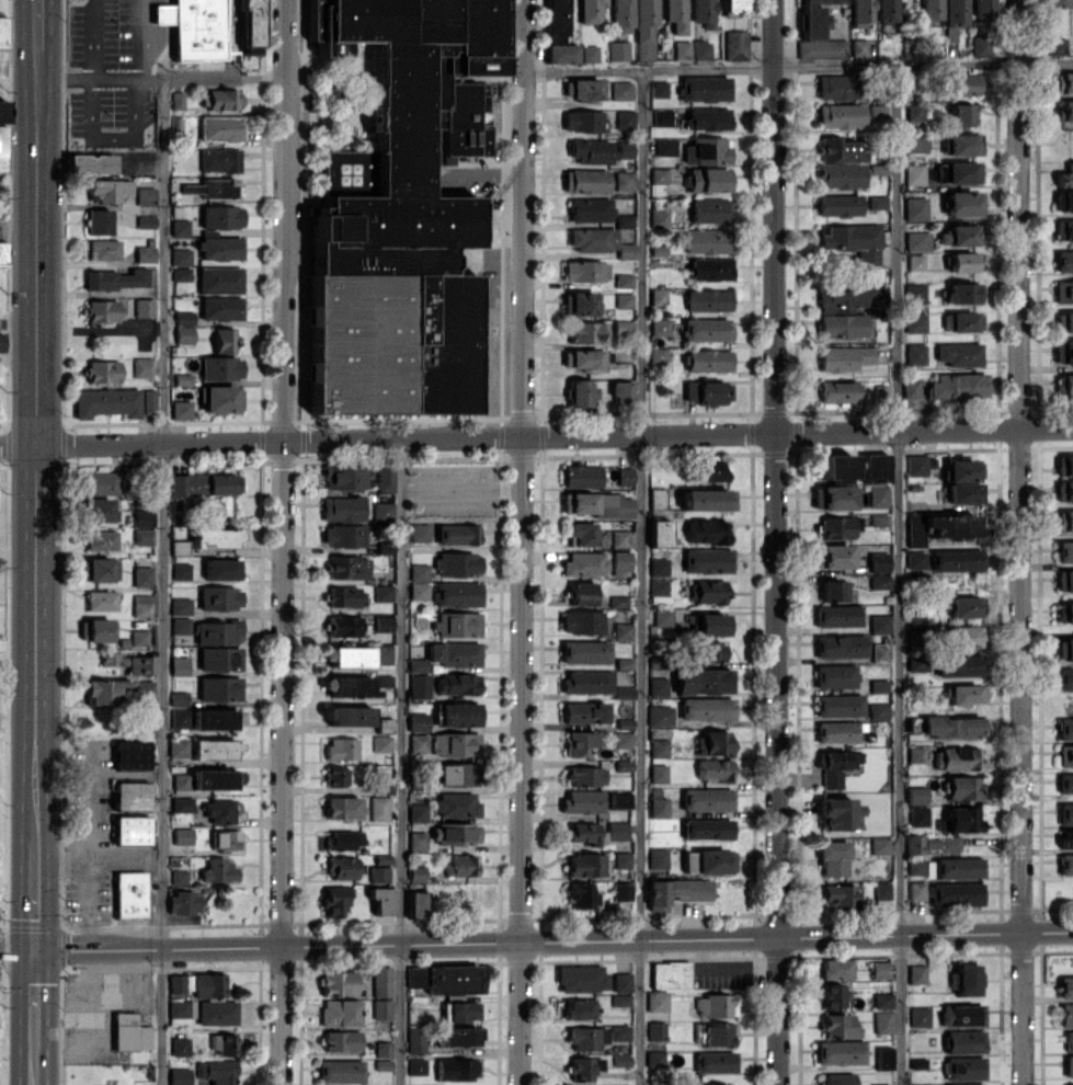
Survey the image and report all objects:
road: (173, 2)
building: (1055, 2)
building: (1072, 2)
building: (734, 5)
building: (931, 10)
building: (983, 10)
building: (590, 11)
building: (887, 11)
building: (703, 12)
building: (860, 12)
building: (621, 15)
building: (675, 15)
building: (814, 16)
road: (174, 18)
building: (954, 18)
building: (557, 20)
road: (39, 25)
building: (193, 27)
building: (250, 27)
road: (138, 28)
building: (644, 28)
building: (2, 32)
road: (91, 37)
building: (735, 45)
building: (979, 45)
building: (1057, 45)
building: (858, 47)
building: (822, 48)
building: (681, 49)
building: (700, 49)
building: (618, 50)
building: (561, 53)
building: (589, 53)
road: (39, 62)
road: (799, 67)
road: (66, 75)
road: (226, 78)
building: (1063, 82)
building: (961, 83)
building: (835, 87)
building: (704, 88)
building: (582, 89)
building: (659, 89)
building: (620, 90)
building: (219, 99)
building: (178, 100)
building: (2, 111)
building: (877, 111)
building: (914, 111)
building: (1064, 111)
building: (961, 114)
building: (840, 115)
road: (135, 117)
building: (661, 117)
building: (707, 118)
building: (625, 119)
building: (582, 121)
building: (220, 128)
building: (916, 142)
building: (963, 144)
building: (665, 146)
building: (2, 148)
building: (625, 149)
building: (840, 149)
building: (589, 150)
building: (707, 150)
building: (219, 160)
building: (90, 163)
building: (958, 172)
building: (914, 174)
building: (657, 175)
building: (841, 175)
building: (1065, 176)
building: (708, 180)
building: (585, 181)
building: (624, 181)
building: (212, 187)
building: (106, 190)
building: (145, 196)
building: (1063, 201)
building: (877, 202)
building: (962, 204)
building: (837, 205)
building: (915, 208)
building: (590, 209)
building: (710, 210)
building: (400, 213)
building: (220, 217)
building: (659, 217)
building: (624, 220)
building: (98, 221)
building: (146, 221)
building: (180, 227)
road: (19, 230)
building: (1063, 230)
building: (964, 235)
building: (592, 239)
building: (853, 240)
building: (917, 240)
building: (707, 241)
building: (220, 248)
building: (103, 249)
building: (626, 251)
building: (2, 252)
building: (145, 254)
building: (181, 256)
building: (1063, 261)
building: (914, 262)
building: (961, 262)
building: (710, 269)
building: (585, 271)
building: (181, 273)
building: (116, 278)
building: (219, 279)
building: (624, 281)
building: (1063, 292)
building: (915, 293)
building: (963, 293)
building: (658, 297)
building: (844, 297)
building: (708, 299)
building: (624, 300)
building: (579, 304)
building: (144, 307)
building: (221, 307)
building: (101, 311)
building: (184, 318)
building: (961, 321)
building: (915, 322)
building: (1064, 322)
building: (841, 325)
building: (660, 327)
building: (621, 328)
building: (706, 329)
building: (586, 332)
building: (183, 334)
building: (224, 340)
building: (0, 342)
building: (1063, 352)
building: (915, 353)
building: (959, 353)
building: (658, 354)
building: (844, 357)
building: (583, 358)
building: (707, 361)
building: (141, 367)
building: (220, 367)
building: (102, 372)
building: (1064, 384)
building: (958, 386)
building: (911, 389)
building: (621, 391)
building: (837, 391)
building: (580, 392)
building: (708, 392)
building: (220, 399)
building: (148, 401)
building: (106, 402)
building: (181, 409)
road: (536, 432)
road: (36, 459)
building: (916, 464)
building: (1064, 465)
building: (835, 467)
building: (875, 467)
building: (709, 470)
building: (385, 476)
building: (581, 476)
building: (625, 476)
building: (345, 477)
building: (100, 482)
building: (203, 483)
building: (1064, 491)
building: (878, 495)
building: (655, 498)
building: (832, 498)
building: (705, 499)
building: (596, 504)
building: (342, 509)
building: (96, 510)
building: (383, 511)
building: (141, 517)
building: (1064, 521)
building: (838, 526)
building: (940, 527)
building: (706, 530)
building: (419, 532)
building: (659, 533)
building: (457, 534)
building: (580, 534)
building: (343, 535)
building: (142, 537)
building: (215, 537)
building: (619, 538)
building: (101, 540)
road: (284, 541)
road: (522, 541)
road: (776, 542)
road: (1019, 542)
building: (179, 547)
building: (1064, 551)
building: (833, 556)
building: (915, 559)
building: (621, 560)
building: (707, 560)
building: (956, 560)
building: (878, 562)
building: (458, 563)
building: (584, 564)
building: (349, 567)
building: (658, 567)
building: (101, 569)
building: (220, 569)
building: (180, 571)
building: (419, 571)
road: (899, 574)
building: (141, 575)
road: (641, 576)
building: (880, 581)
building: (1064, 581)
road: (163, 582)
building: (658, 590)
building: (834, 590)
building: (419, 591)
building: (706, 591)
building: (383, 592)
building: (581, 593)
building: (456, 594)
building: (345, 596)
building: (219, 597)
building: (101, 599)
building: (140, 605)
building: (180, 605)
building: (962, 606)
building: (1065, 613)
building: (837, 615)
building: (662, 617)
building: (582, 621)
building: (384, 624)
building: (457, 624)
building: (710, 624)
building: (879, 624)
building: (180, 625)
building: (343, 626)
building: (94, 629)
building: (623, 630)
building: (217, 632)
building: (962, 636)
building: (139, 637)
building: (841, 646)
building: (1064, 649)
building: (710, 650)
building: (881, 651)
building: (585, 652)
building: (454, 653)
building: (385, 654)
building: (347, 655)
building: (219, 659)
building: (129, 663)
building: (418, 664)
building: (917, 664)
building: (179, 665)
building: (959, 665)
building: (835, 676)
building: (1064, 678)
building: (704, 681)
building: (586, 682)
building: (457, 683)
building: (419, 685)
building: (658, 685)
building: (879, 685)
building: (352, 686)
building: (219, 688)
building: (145, 690)
building: (109, 692)
building: (624, 692)
building: (963, 695)
building: (179, 698)
building: (838, 705)
building: (707, 708)
building: (878, 710)
building: (584, 711)
building: (458, 713)
building: (349, 715)
building: (660, 715)
building: (205, 718)
building: (418, 721)
building: (385, 724)
building: (952, 727)
building: (1064, 728)
building: (836, 731)
building: (623, 739)
building: (714, 742)
building: (381, 743)
building: (419, 743)
building: (579, 743)
building: (455, 744)
building: (179, 747)
building: (341, 747)
building: (659, 747)
building: (213, 749)
building: (129, 754)
building: (915, 754)
building: (1065, 754)
building: (957, 758)
road: (402, 759)
building: (834, 766)
building: (716, 768)
building: (457, 773)
building: (658, 773)
building: (334, 776)
building: (586, 776)
building: (215, 778)
building: (180, 781)
building: (1065, 783)
building: (962, 787)
building: (916, 795)
building: (130, 796)
building: (619, 799)
building: (707, 799)
building: (582, 801)
building: (182, 804)
building: (456, 804)
building: (341, 807)
building: (379, 809)
building: (219, 811)
building: (416, 812)
building: (837, 812)
building: (1065, 813)
building: (918, 815)
building: (960, 820)
building: (707, 829)
building: (130, 830)
building: (617, 831)
building: (454, 833)
building: (582, 833)
building: (182, 835)
building: (1068, 838)
building: (225, 840)
building: (343, 840)
building: (416, 841)
building: (921, 843)
building: (950, 843)
building: (880, 845)
road: (89, 852)
road: (61, 856)
building: (833, 857)
road: (125, 858)
building: (383, 858)
building: (658, 858)
building: (621, 859)
building: (708, 861)
building: (1065, 864)
building: (460, 865)
building: (584, 865)
building: (340, 867)
building: (920, 867)
building: (959, 867)
building: (218, 870)
park: (4, 871)
building: (378, 873)
building: (416, 873)
building: (179, 877)
building: (882, 890)
building: (916, 890)
building: (621, 891)
building: (675, 891)
building: (956, 893)
building: (129, 894)
building: (582, 895)
building: (838, 895)
road: (33, 896)
building: (335, 899)
building: (381, 900)
building: (183, 902)
building: (416, 904)
road: (16, 923)
road: (552, 940)
road: (16, 949)
traffic signals: (33, 950)
building: (836, 968)
building: (880, 969)
building: (670, 974)
building: (916, 974)
building: (415, 976)
building: (581, 978)
building: (454, 979)
building: (966, 980)
building: (381, 981)
building: (623, 982)
building: (338, 983)
building: (198, 984)
building: (1065, 986)
building: (836, 995)
building: (621, 1000)
building: (658, 1001)
building: (882, 1001)
building: (715, 1005)
road: (33, 1007)
building: (579, 1008)
building: (381, 1009)
building: (460, 1010)
building: (180, 1012)
building: (217, 1013)
building: (340, 1013)
building: (962, 1015)
building: (1066, 1015)
building: (920, 1016)
building: (883, 1021)
building: (840, 1026)
building: (657, 1030)
building: (129, 1032)
building: (619, 1032)
building: (719, 1033)
building: (457, 1036)
building: (586, 1037)
building: (415, 1039)
building: (341, 1040)
building: (1070, 1040)
building: (964, 1041)
building: (224, 1043)
building: (180, 1046)
building: (383, 1049)
building: (841, 1052)
building: (884, 1058)
building: (655, 1059)
building: (716, 1062)
building: (383, 1064)
building: (1069, 1065)
building: (416, 1066)
building: (584, 1067)
building: (964, 1067)
building: (456, 1069)
building: (217, 1071)
building: (340, 1071)
road: (33, 1074)
building: (179, 1076)
building: (838, 1078)
building: (710, 1084)
building: (880, 1084)
building: (926, 1084)
building: (966, 1084)
building: (1069, 1084)

